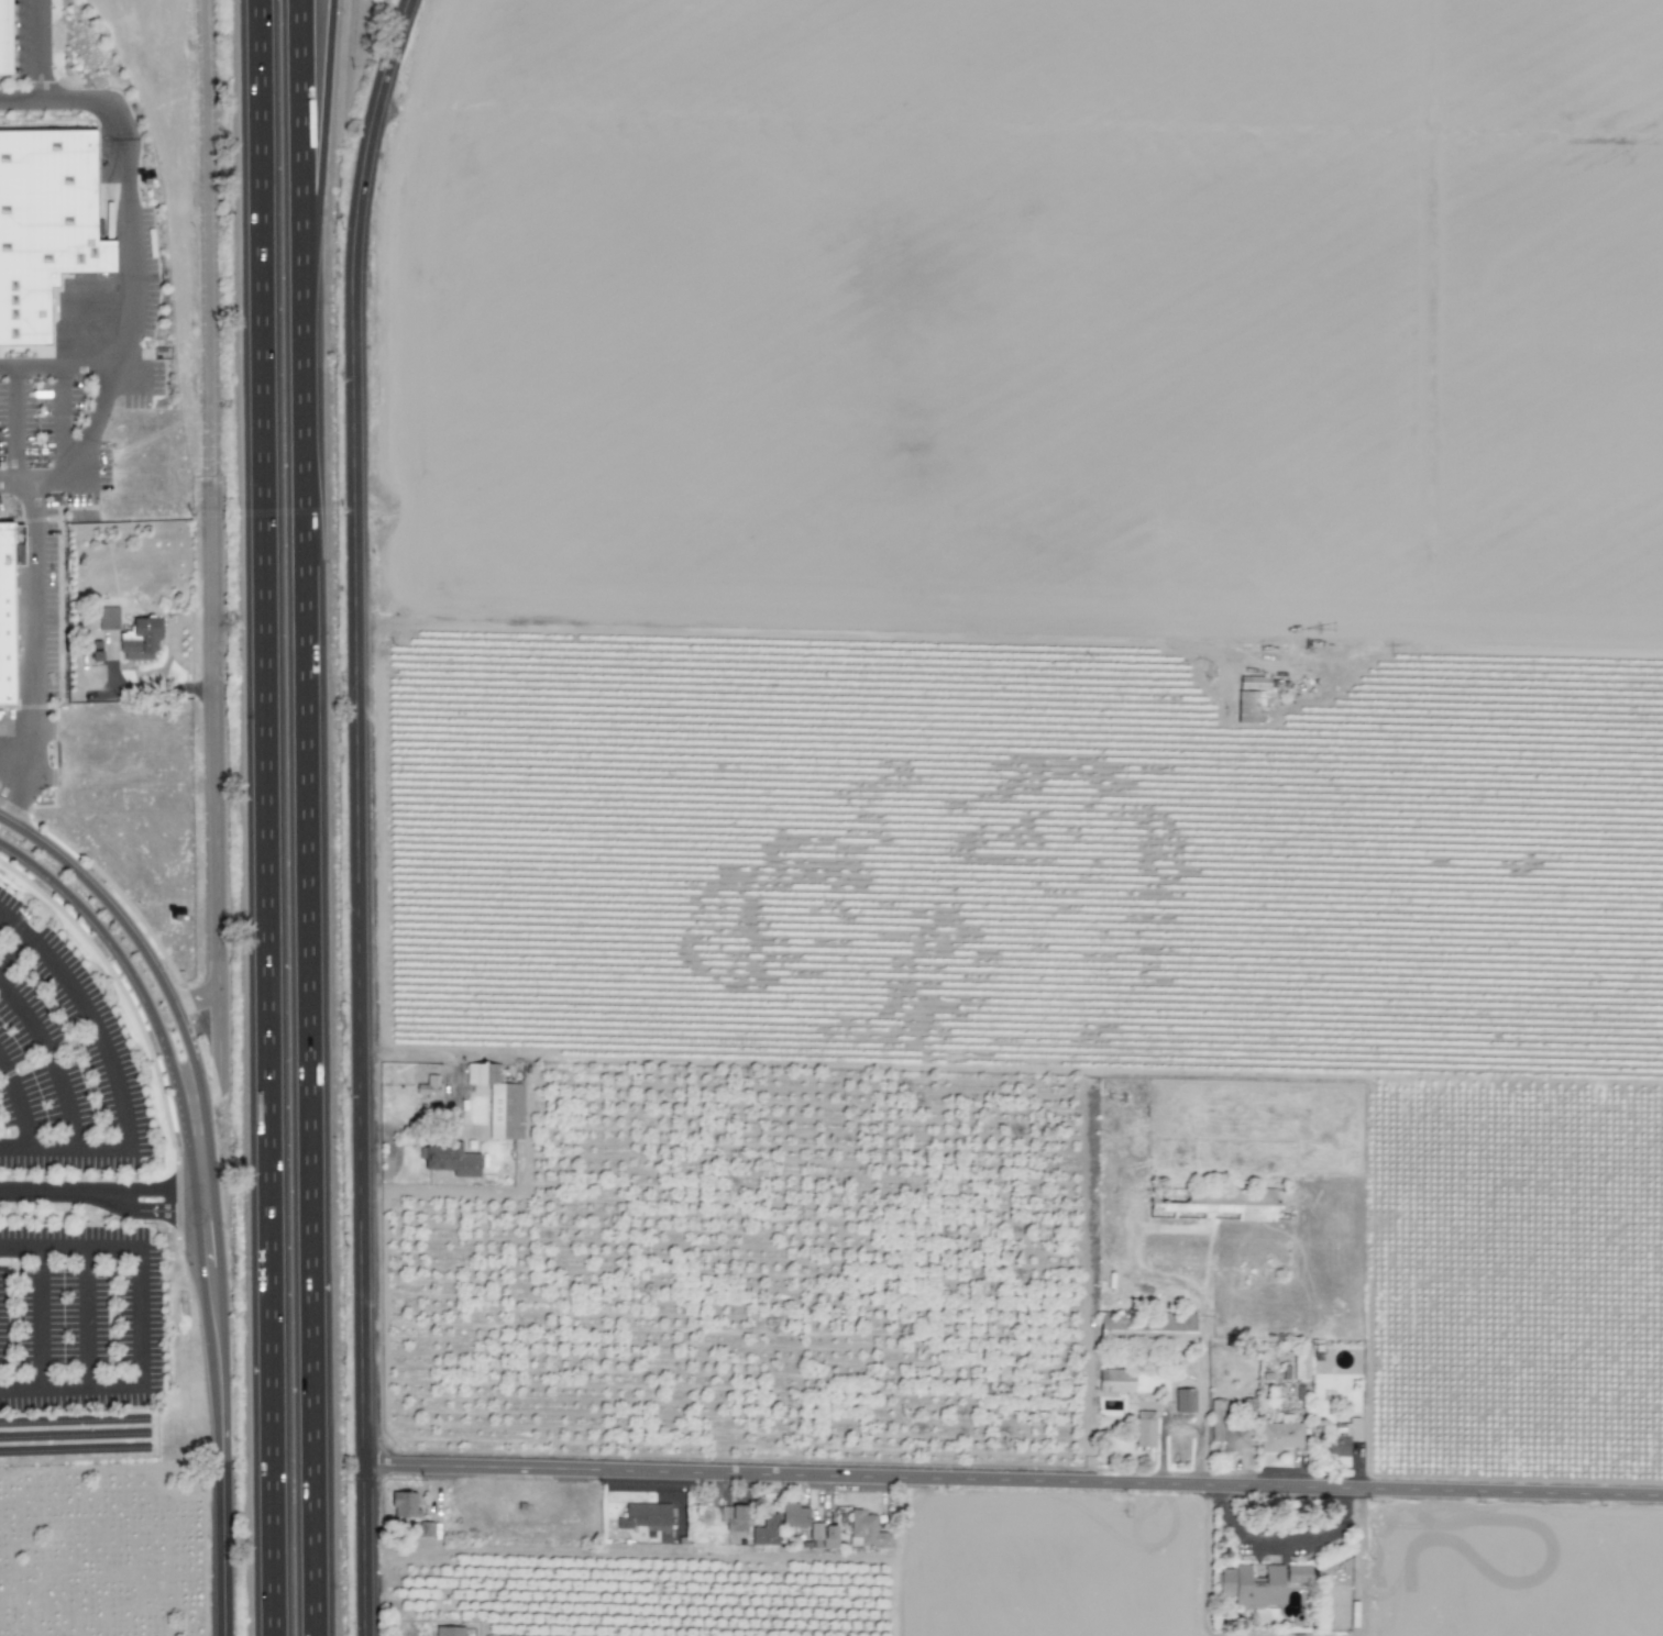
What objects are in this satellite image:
building: (4, 36)
road: (40, 47)
road: (56, 96)
road: (318, 124)
building: (44, 224)
road: (130, 329)
road: (58, 364)
road: (64, 420)
road: (14, 425)
road: (214, 557)
building: (5, 611)
building: (108, 618)
road: (790, 630)
building: (139, 639)
road: (37, 648)
building: (96, 651)
building: (1253, 683)
road: (150, 695)
building: (1249, 707)
road: (11, 766)
road: (357, 814)
road: (268, 817)
road: (310, 818)
road: (14, 949)
road: (156, 974)
road: (141, 991)
road: (195, 997)
road: (90, 1017)
road: (422, 1051)
road: (52, 1058)
building: (428, 1087)
building: (498, 1101)
road: (18, 1103)
road: (65, 1148)
building: (449, 1160)
road: (152, 1189)
road: (52, 1193)
road: (202, 1201)
building: (1245, 1203)
road: (151, 1212)
road: (68, 1247)
road: (211, 1285)
road: (136, 1313)
road: (87, 1315)
road: (40, 1316)
building: (1149, 1328)
building: (1300, 1367)
building: (1115, 1380)
road: (68, 1383)
building: (1144, 1428)
building: (1225, 1428)
building: (1280, 1435)
building: (1342, 1438)
road: (1013, 1479)
road: (221, 1497)
building: (404, 1504)
building: (794, 1515)
building: (647, 1522)
building: (748, 1526)
building: (866, 1530)
building: (801, 1533)
building: (824, 1534)
road: (1284, 1541)
building: (1297, 1573)
building: (1251, 1585)
building: (448, 1631)

